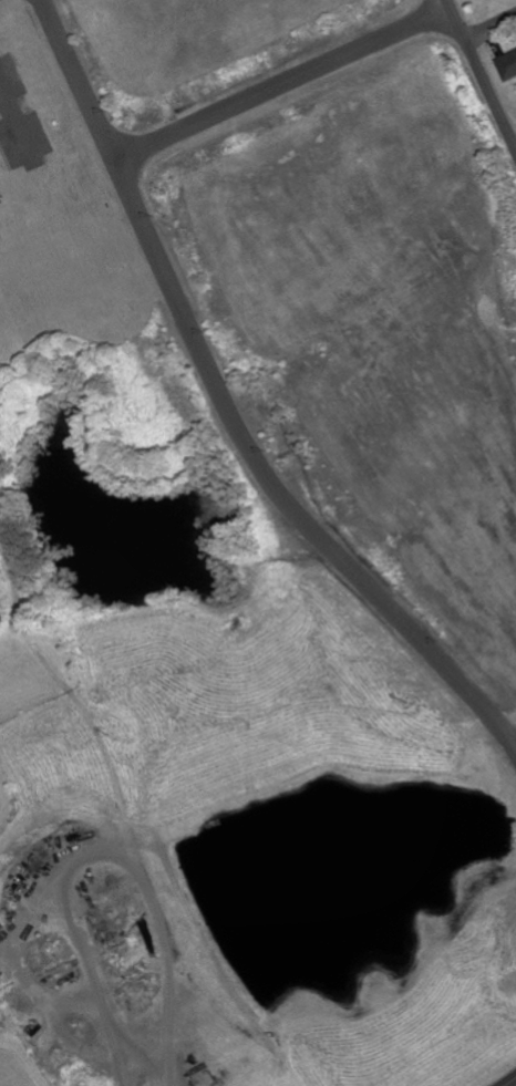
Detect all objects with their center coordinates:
road: (492, 30)
building: (508, 65)
road: (482, 72)
road: (280, 83)
road: (10, 121)
road: (239, 400)
road: (512, 1083)

